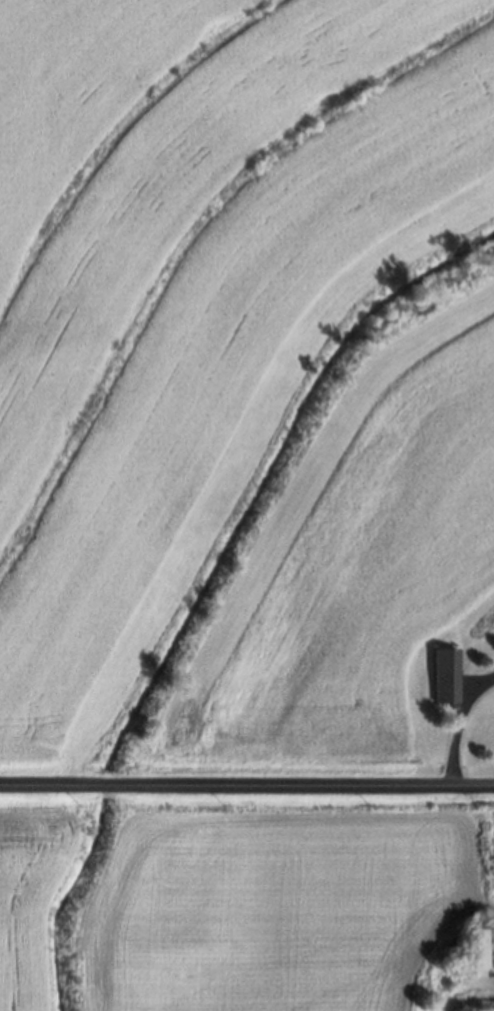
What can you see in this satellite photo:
building: (440, 675)
road: (453, 721)
road: (246, 789)
crop: (25, 894)
building: (480, 950)

